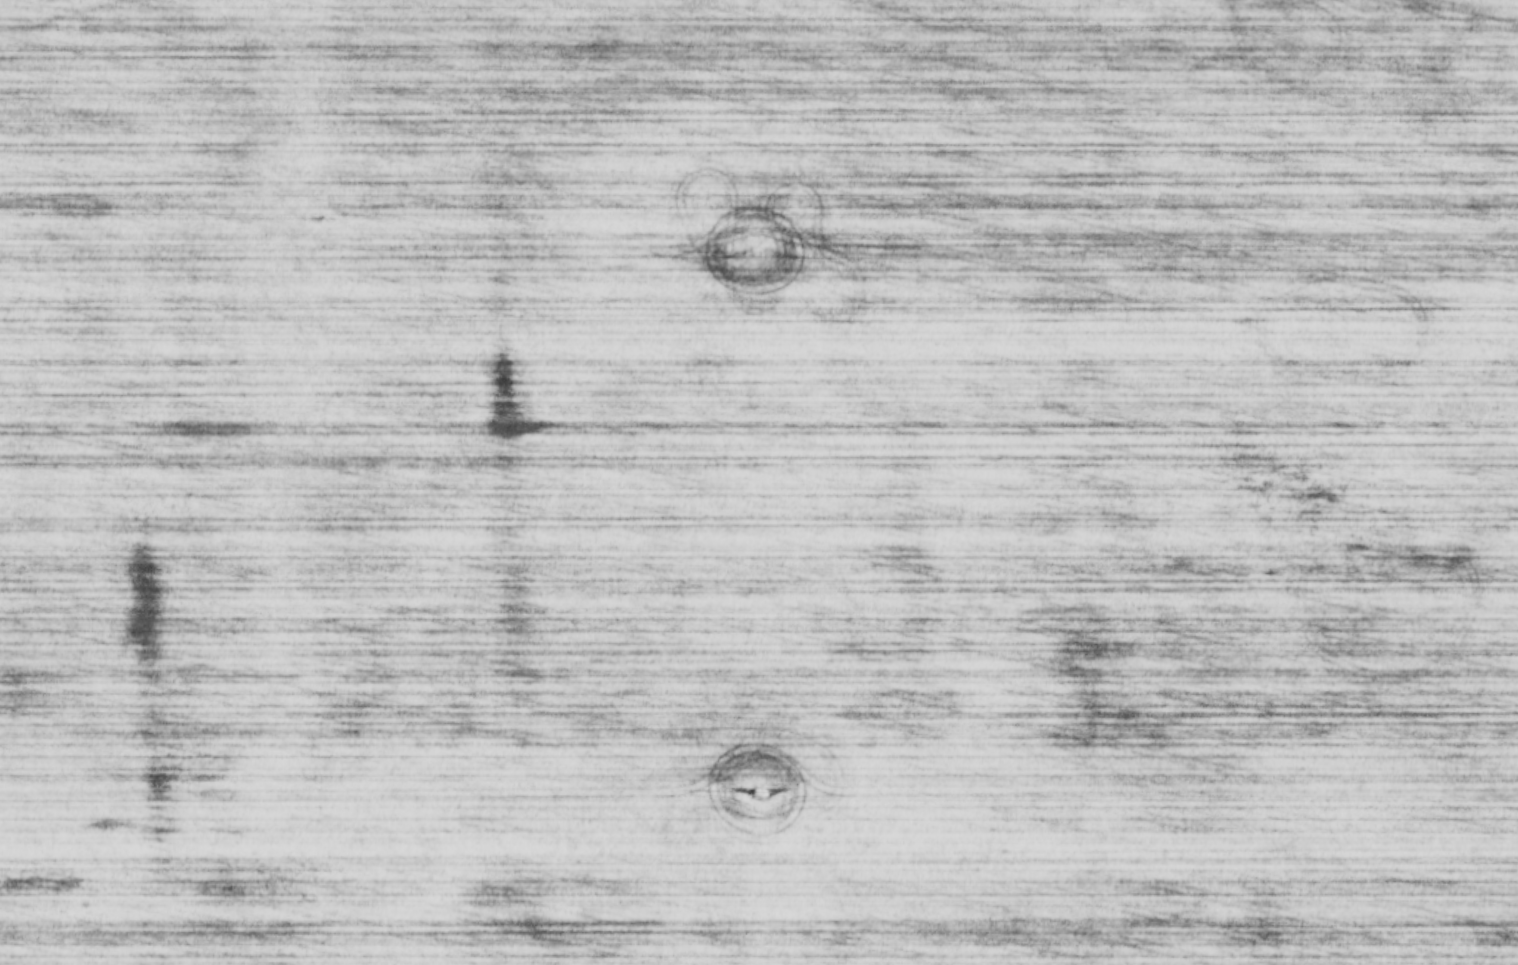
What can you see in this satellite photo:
power tower: (749, 251)
power tower: (753, 791)

